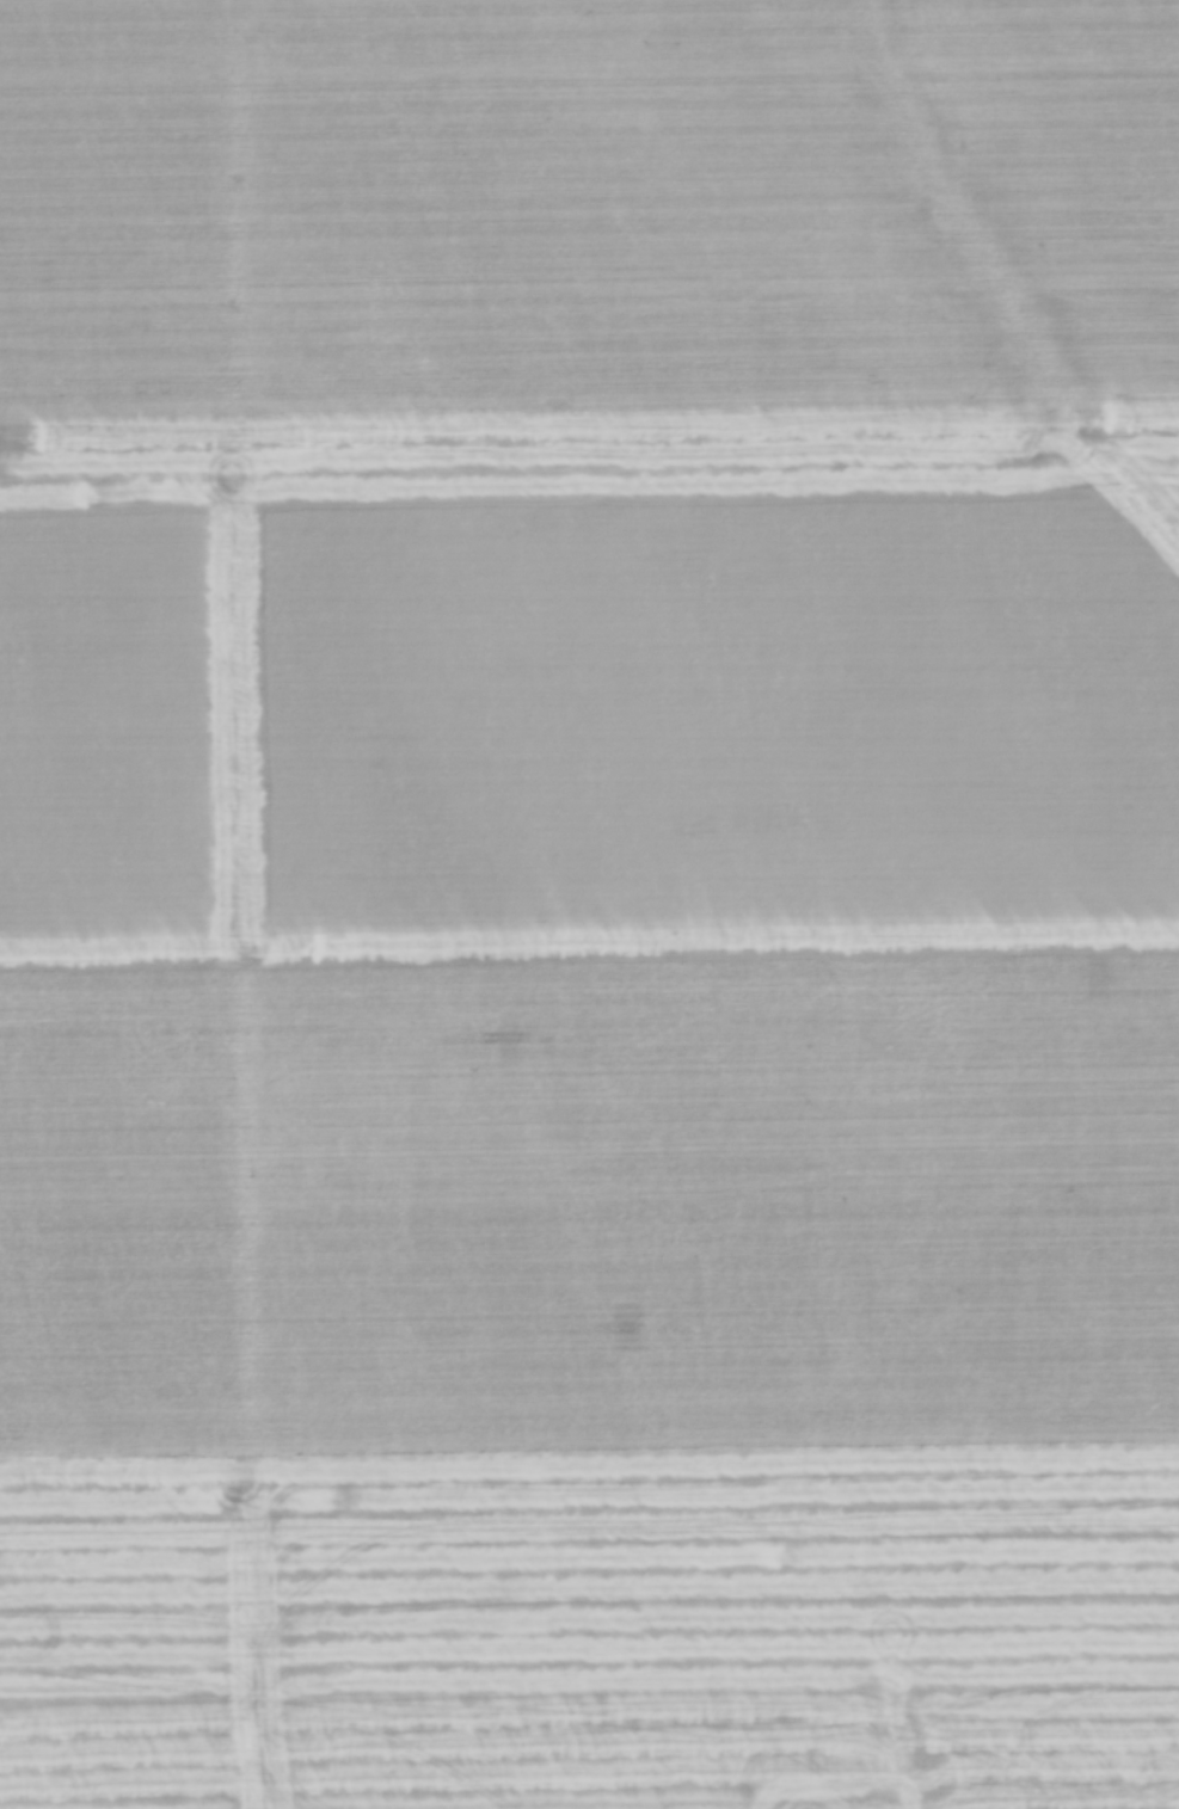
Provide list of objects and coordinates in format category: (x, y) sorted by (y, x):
crop: (589, 904)

